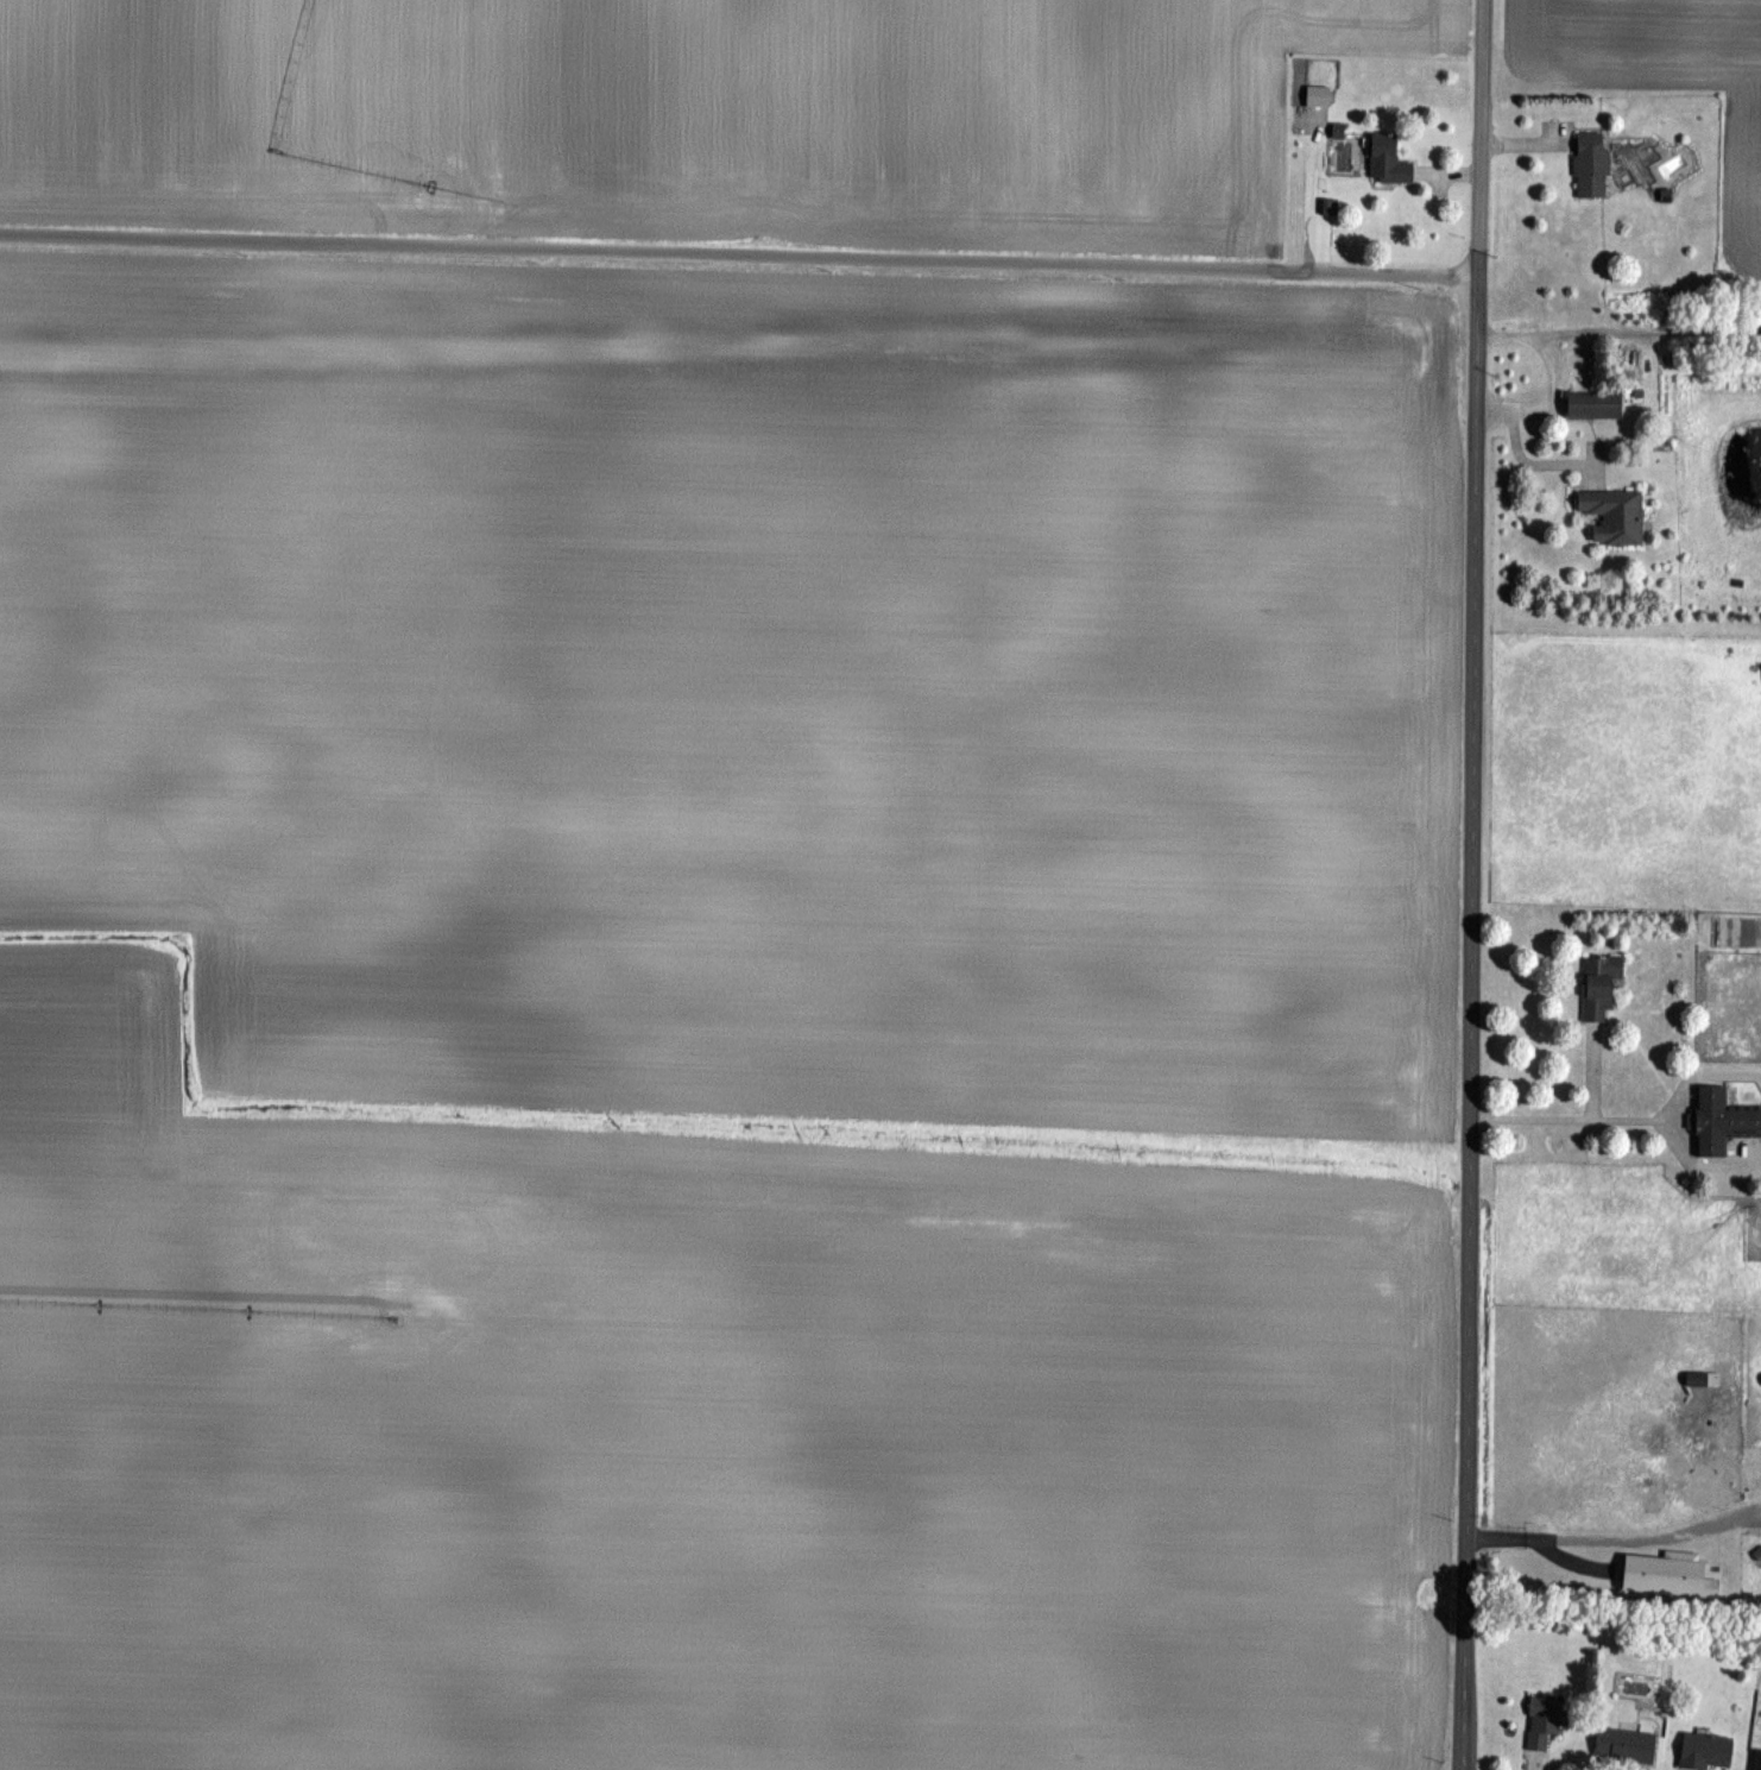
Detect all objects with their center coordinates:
building: (1314, 95)
crop: (683, 113)
road: (1478, 138)
building: (1384, 159)
building: (1633, 162)
building: (1589, 164)
road: (737, 256)
building: (1591, 404)
road: (1514, 461)
building: (1611, 514)
building: (1597, 984)
road: (1465, 1022)
road: (1570, 1117)
building: (1717, 1121)
building: (1547, 1721)
building: (1629, 1745)
building: (1710, 1751)
building: (1760, 1764)

